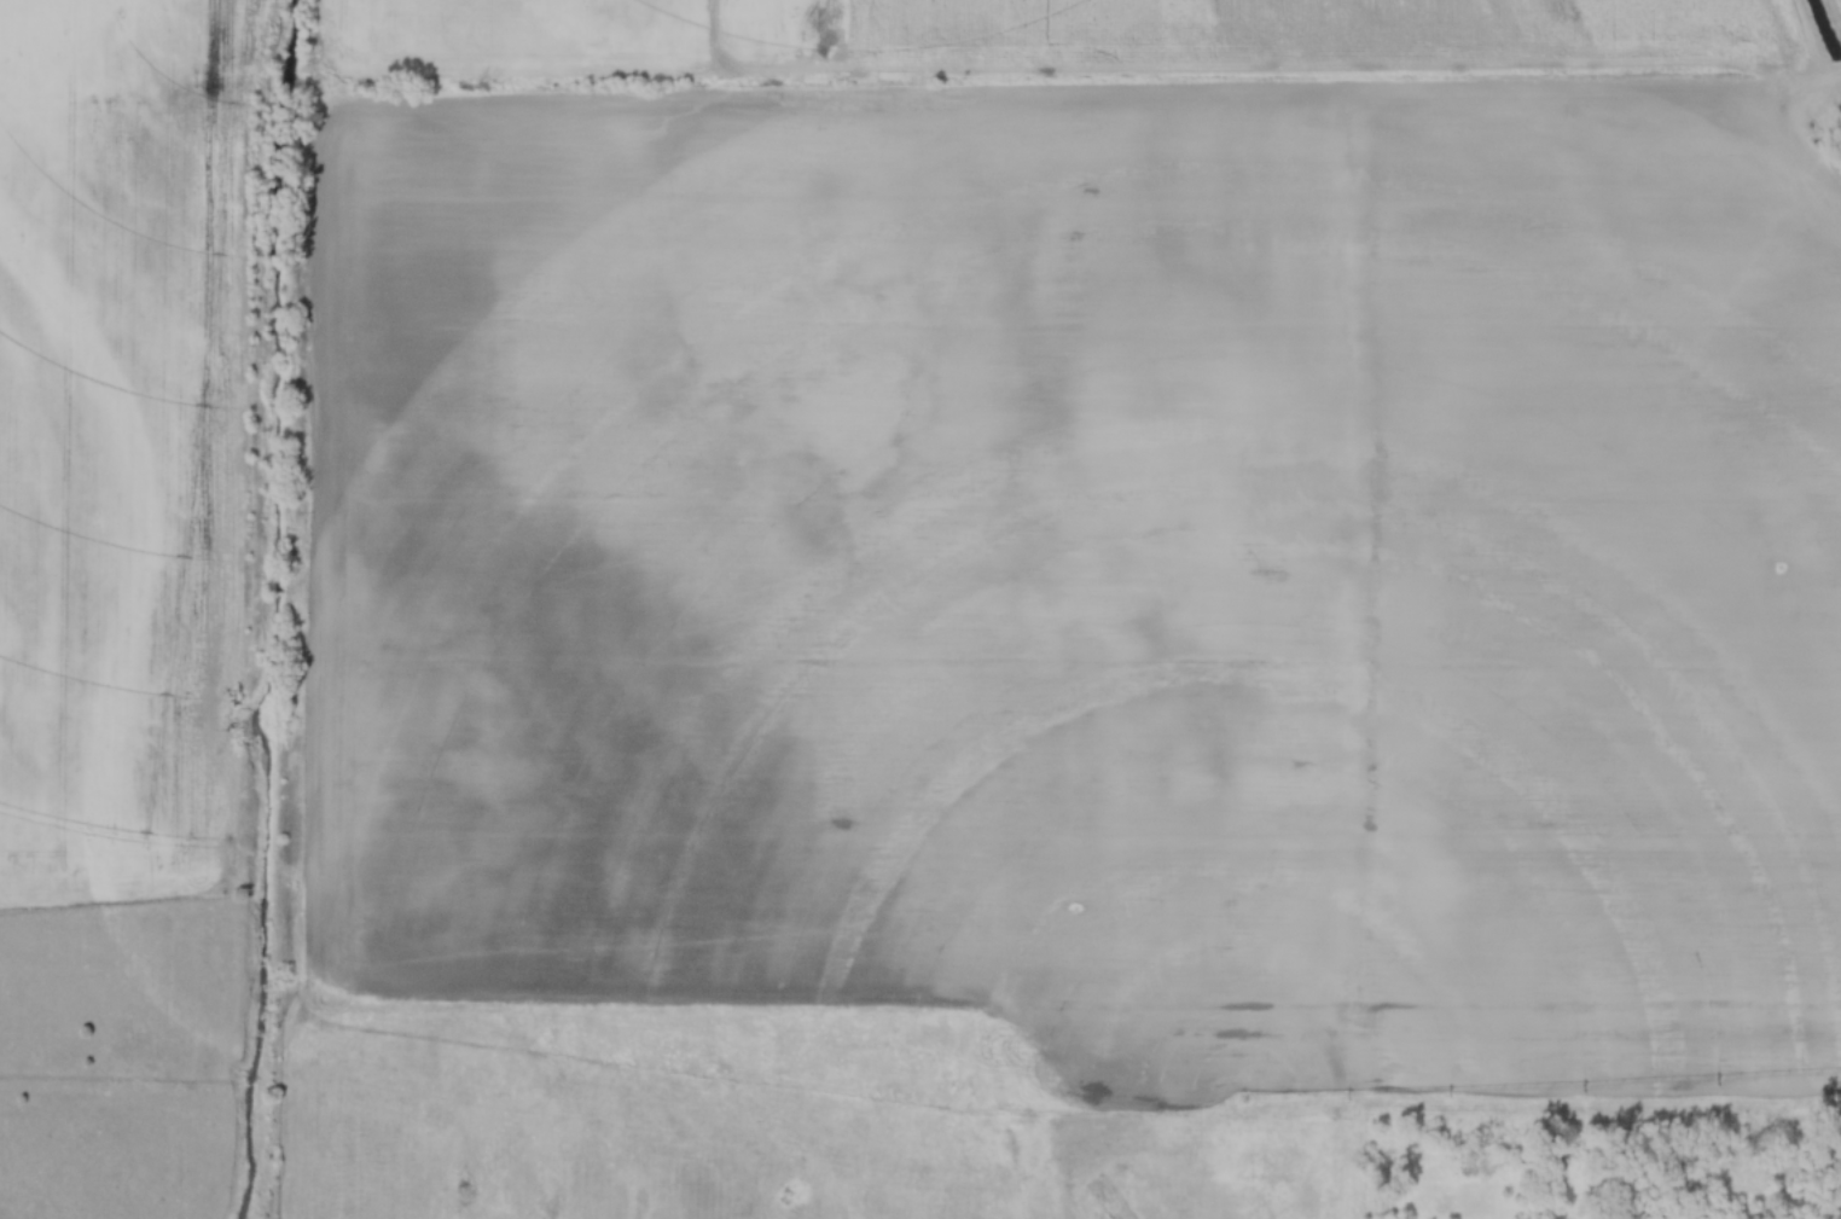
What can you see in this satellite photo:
road: (272, 19)
road: (146, 104)
building: (1755, 105)

